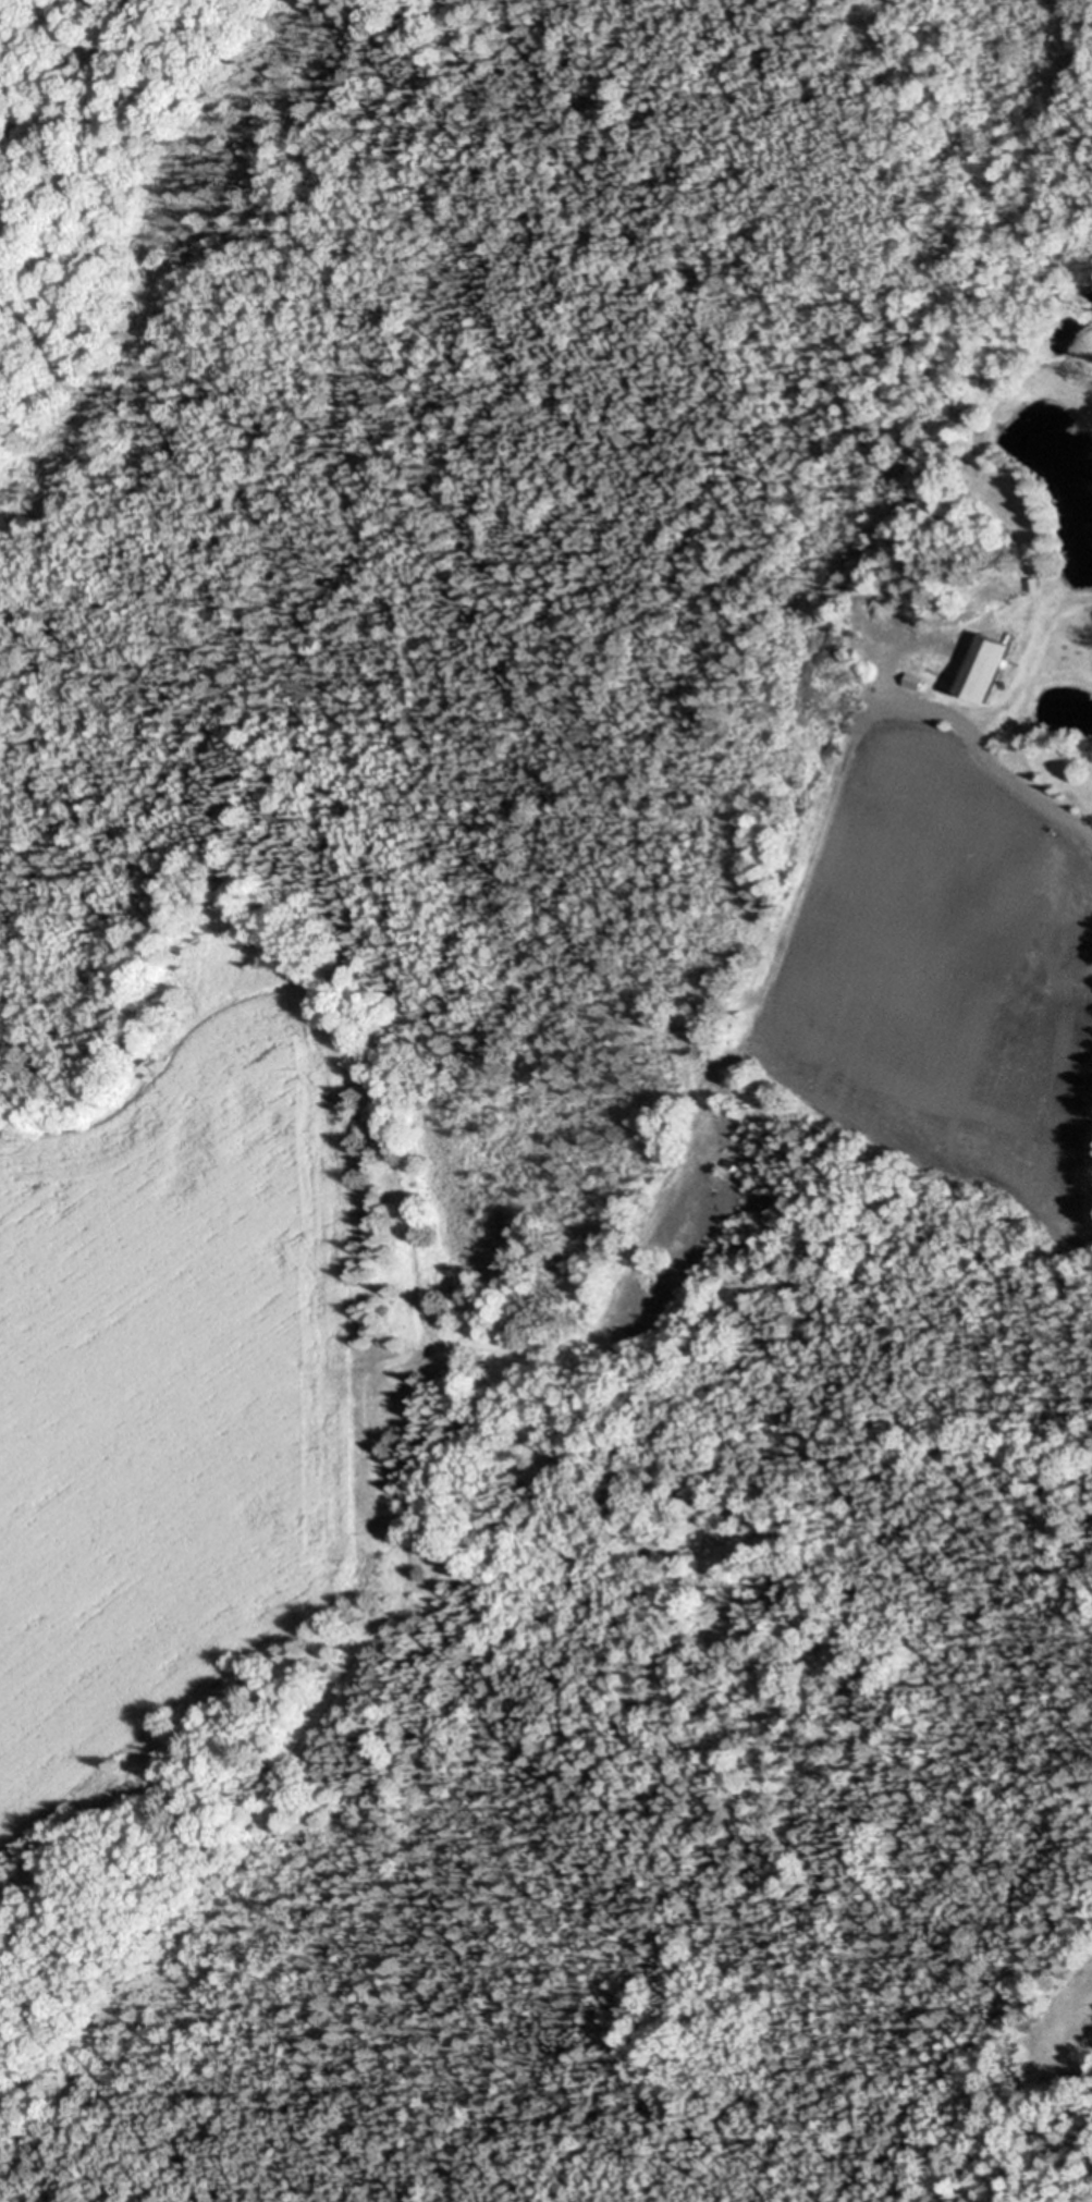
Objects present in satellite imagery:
building: (979, 670)
building: (911, 684)
road: (984, 718)

